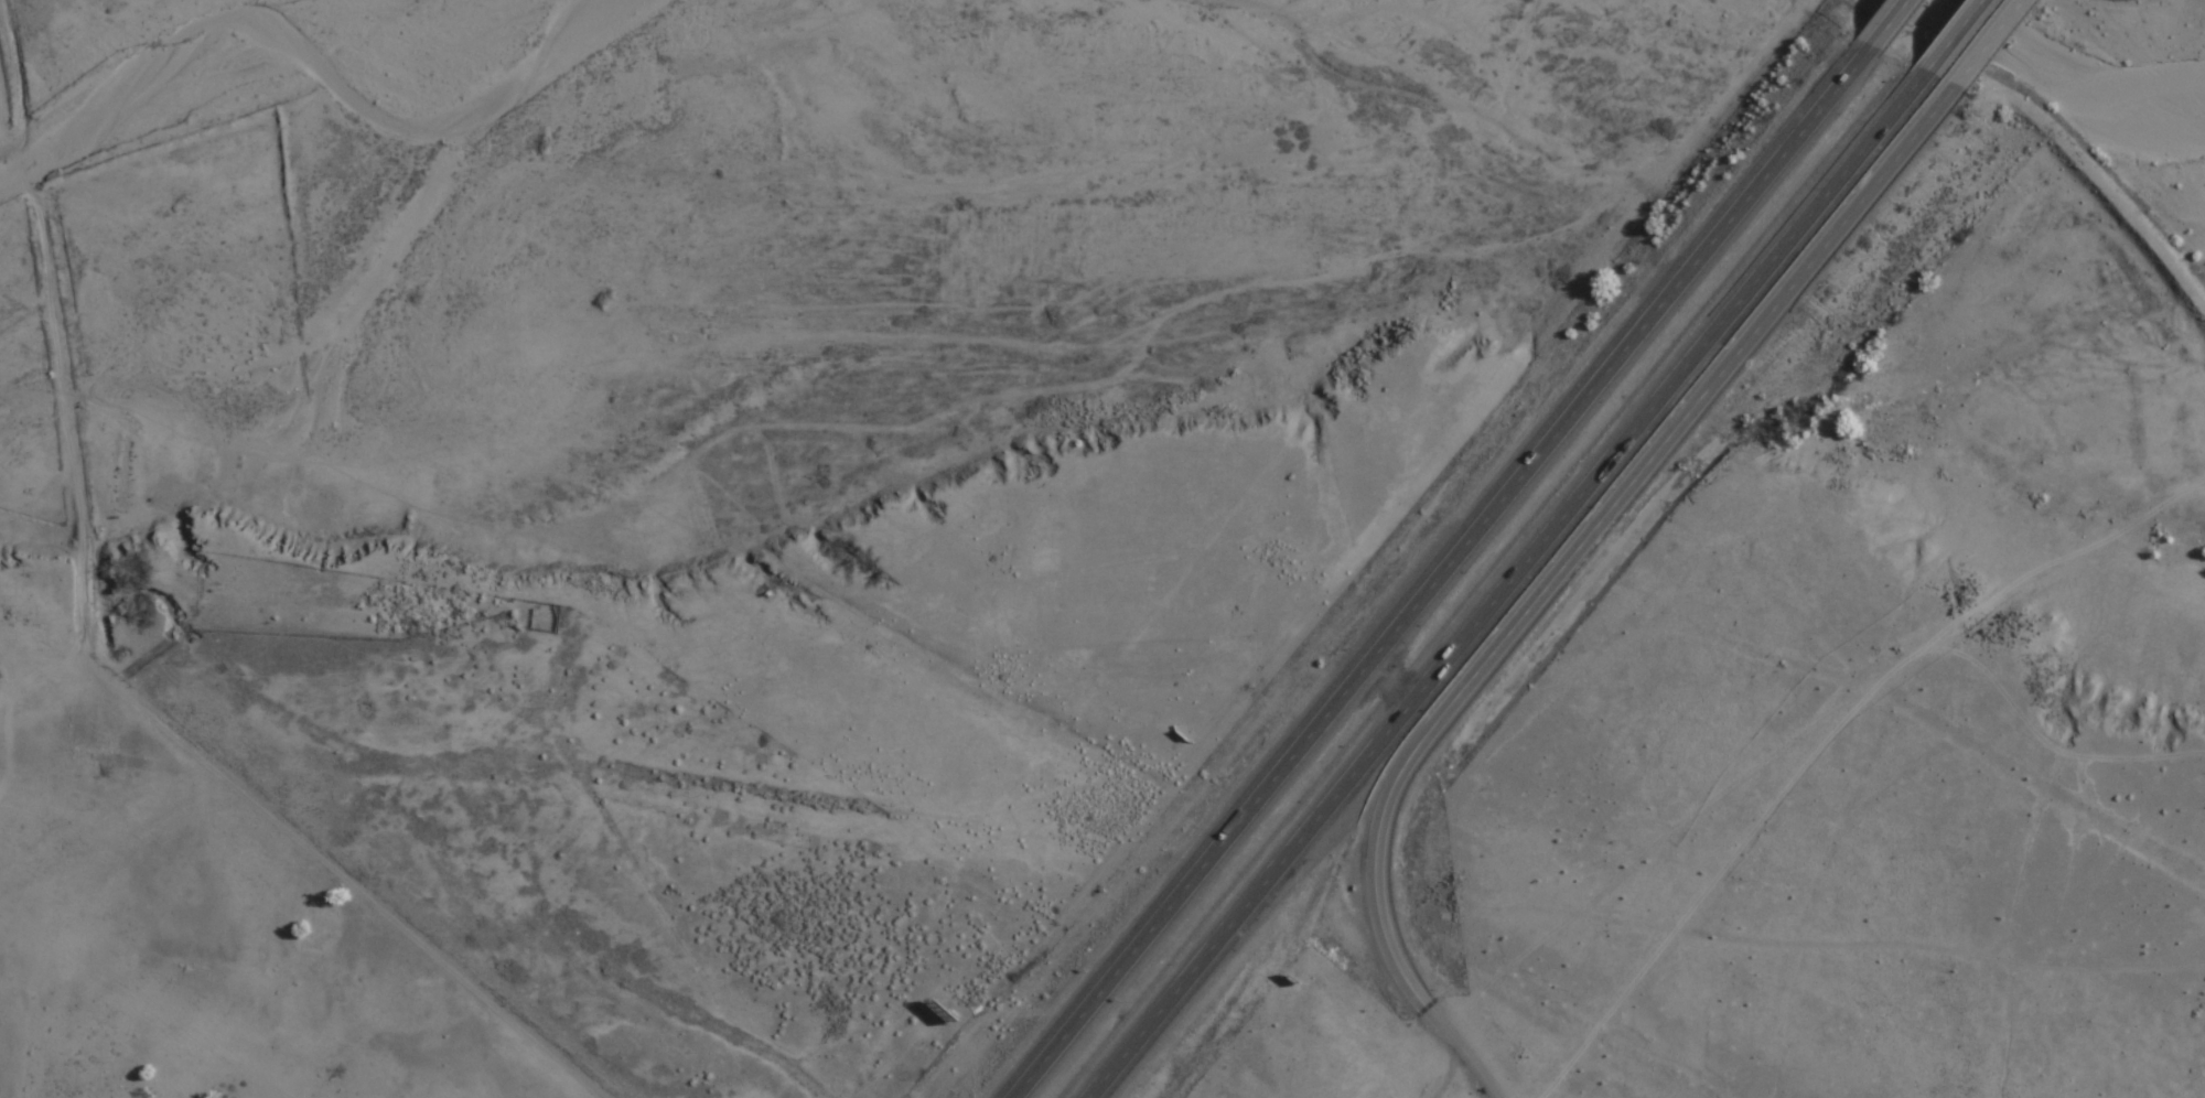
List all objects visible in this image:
road: (1892, 20)
road: (1959, 33)
road: (1992, 41)
river: (2079, 58)
river: (336, 85)
railway: (385, 335)
road: (1562, 568)
road: (1448, 569)
road: (1521, 585)
railway: (1308, 869)

